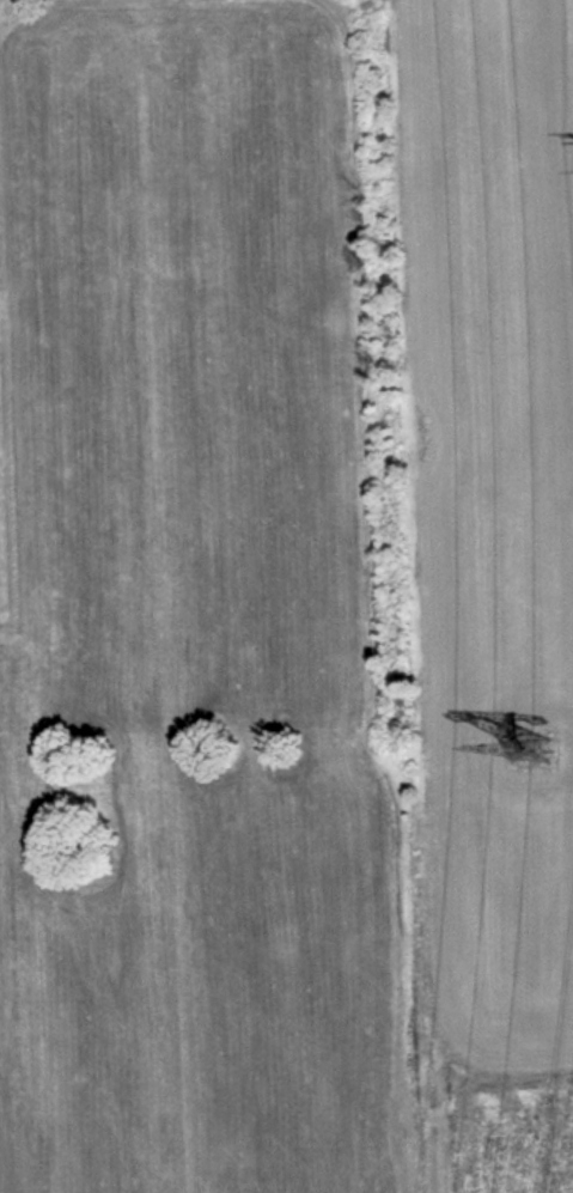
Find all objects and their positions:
power tower: (529, 748)

